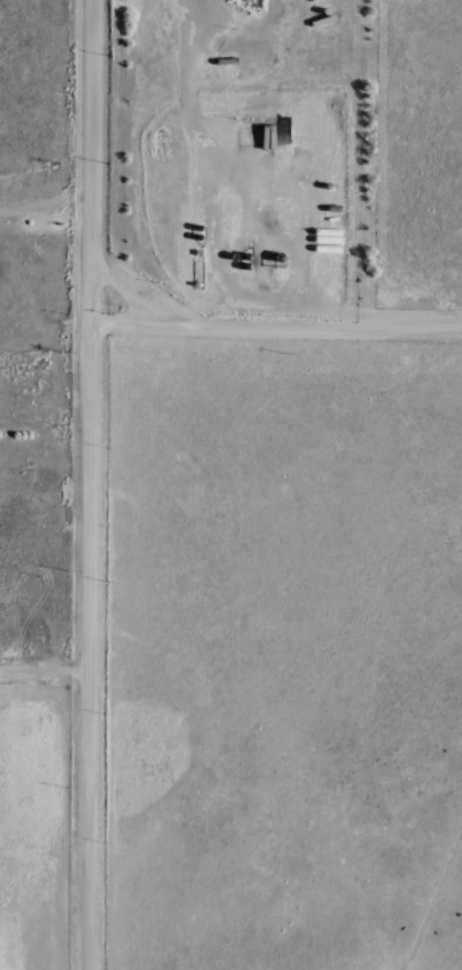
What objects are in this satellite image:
road: (279, 321)
road: (94, 485)

